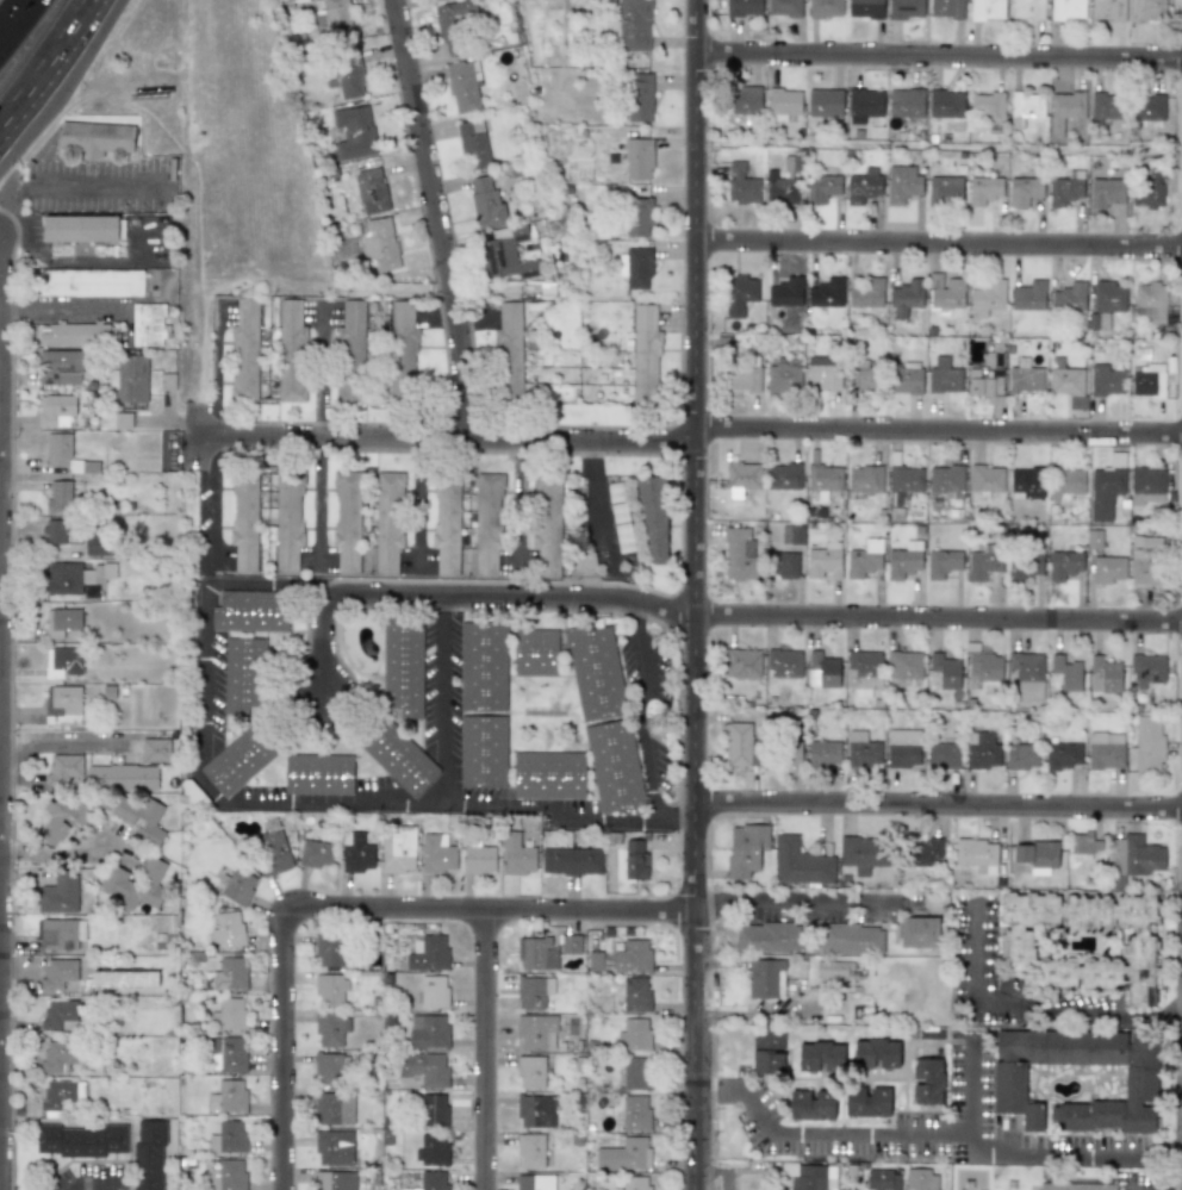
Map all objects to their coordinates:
building: (744, 7)
building: (784, 7)
building: (825, 8)
building: (865, 8)
building: (906, 8)
building: (946, 8)
building: (987, 8)
building: (1068, 8)
building: (1027, 10)
building: (1108, 10)
building: (1147, 11)
road: (18, 21)
building: (454, 23)
building: (632, 25)
road: (64, 50)
road: (58, 51)
road: (939, 52)
building: (344, 76)
building: (462, 86)
building: (640, 98)
building: (744, 99)
building: (825, 101)
building: (783, 102)
building: (906, 102)
building: (945, 102)
building: (864, 105)
building: (987, 105)
building: (1106, 105)
building: (1025, 107)
building: (1147, 107)
building: (1064, 108)
road: (12, 117)
building: (353, 133)
building: (94, 137)
building: (473, 144)
building: (637, 158)
road: (189, 172)
building: (782, 183)
building: (902, 183)
building: (741, 185)
building: (863, 186)
building: (821, 187)
building: (1065, 188)
road: (73, 189)
building: (945, 189)
building: (983, 189)
building: (1149, 189)
building: (371, 191)
building: (1024, 191)
building: (1107, 192)
building: (486, 203)
building: (636, 217)
road: (438, 222)
building: (80, 228)
power tower: (567, 229)
road: (939, 243)
building: (380, 244)
building: (506, 254)
building: (635, 267)
building: (934, 280)
building: (91, 282)
building: (785, 292)
building: (826, 292)
building: (739, 293)
building: (866, 293)
building: (947, 294)
road: (325, 295)
building: (1028, 295)
building: (906, 297)
building: (987, 297)
building: (1069, 297)
building: (1151, 299)
building: (1106, 303)
building: (144, 324)
building: (74, 334)
building: (402, 349)
building: (509, 349)
building: (244, 350)
building: (291, 351)
building: (350, 353)
building: (645, 354)
building: (60, 367)
road: (197, 369)
building: (742, 373)
building: (822, 373)
building: (783, 375)
building: (861, 376)
building: (943, 376)
building: (987, 376)
building: (131, 378)
building: (904, 380)
building: (1025, 380)
building: (1106, 380)
building: (1147, 380)
building: (1068, 382)
building: (55, 410)
building: (123, 419)
road: (318, 436)
road: (698, 436)
building: (58, 449)
building: (742, 474)
building: (784, 476)
building: (823, 478)
building: (906, 478)
building: (985, 478)
building: (865, 479)
building: (946, 480)
building: (1026, 482)
building: (1065, 482)
building: (1146, 485)
building: (1107, 486)
building: (58, 496)
road: (598, 507)
road: (211, 513)
building: (347, 521)
building: (388, 521)
building: (654, 521)
building: (244, 522)
building: (287, 522)
building: (487, 523)
building: (547, 523)
building: (446, 525)
building: (54, 530)
building: (791, 534)
building: (1094, 538)
building: (94, 546)
building: (739, 553)
building: (864, 559)
building: (823, 560)
building: (903, 560)
building: (1146, 560)
building: (983, 561)
building: (583, 562)
building: (941, 562)
building: (1024, 562)
building: (1064, 563)
building: (783, 565)
building: (1108, 569)
building: (104, 571)
building: (63, 578)
road: (693, 594)
road: (478, 597)
building: (251, 610)
road: (938, 617)
building: (63, 618)
building: (536, 652)
building: (62, 661)
building: (741, 662)
building: (783, 662)
building: (904, 665)
building: (983, 665)
building: (404, 666)
building: (485, 666)
building: (822, 669)
building: (863, 671)
building: (945, 671)
building: (1065, 672)
building: (597, 673)
building: (244, 674)
building: (1105, 674)
building: (1025, 675)
road: (294, 681)
road: (442, 700)
building: (62, 705)
power tower: (664, 723)
road: (198, 742)
building: (741, 744)
building: (1149, 746)
building: (903, 747)
building: (154, 749)
building: (861, 749)
building: (981, 749)
building: (1106, 749)
building: (485, 752)
building: (823, 752)
building: (792, 753)
building: (244, 754)
building: (397, 754)
building: (1063, 754)
building: (943, 755)
building: (1021, 755)
building: (616, 765)
building: (63, 767)
building: (319, 774)
building: (550, 775)
building: (122, 777)
building: (194, 796)
road: (937, 804)
building: (136, 815)
building: (62, 817)
road: (660, 820)
road: (677, 822)
building: (1084, 842)
building: (745, 848)
building: (398, 849)
building: (926, 851)
building: (975, 851)
building: (272, 852)
building: (316, 853)
building: (356, 853)
building: (436, 853)
building: (864, 853)
road: (62, 854)
building: (516, 854)
building: (1038, 854)
building: (1134, 856)
building: (479, 859)
building: (571, 860)
building: (635, 860)
building: (801, 862)
building: (135, 883)
building: (236, 885)
building: (58, 892)
road: (795, 901)
road: (490, 910)
building: (226, 929)
building: (919, 932)
building: (61, 933)
building: (769, 937)
building: (851, 937)
building: (1083, 942)
building: (570, 943)
building: (330, 949)
building: (536, 953)
building: (429, 954)
building: (632, 957)
building: (834, 970)
building: (229, 973)
building: (60, 974)
building: (765, 978)
building: (124, 979)
building: (330, 989)
building: (433, 991)
building: (533, 991)
building: (635, 993)
road: (1022, 1009)
building: (58, 1014)
building: (229, 1014)
building: (330, 1029)
building: (428, 1030)
building: (536, 1032)
building: (633, 1035)
road: (280, 1048)
road: (484, 1049)
building: (767, 1049)
building: (876, 1053)
building: (57, 1054)
building: (228, 1054)
building: (820, 1057)
building: (424, 1067)
building: (330, 1068)
building: (530, 1072)
building: (636, 1072)
building: (927, 1080)
building: (1140, 1083)
road: (703, 1088)
building: (61, 1092)
building: (229, 1096)
building: (866, 1101)
building: (811, 1104)
building: (334, 1108)
building: (434, 1109)
building: (535, 1110)
building: (635, 1113)
road: (877, 1133)
building: (228, 1136)
building: (81, 1139)
building: (334, 1147)
building: (431, 1148)
building: (530, 1151)
building: (149, 1154)
building: (626, 1154)
road: (1060, 1154)
road: (1169, 1157)
building: (226, 1176)
building: (810, 1176)
building: (433, 1179)
building: (882, 1179)
building: (920, 1179)
building: (335, 1180)
road: (102, 1182)
building: (535, 1182)
building: (635, 1183)
building: (1075, 1185)
building: (848, 1189)

